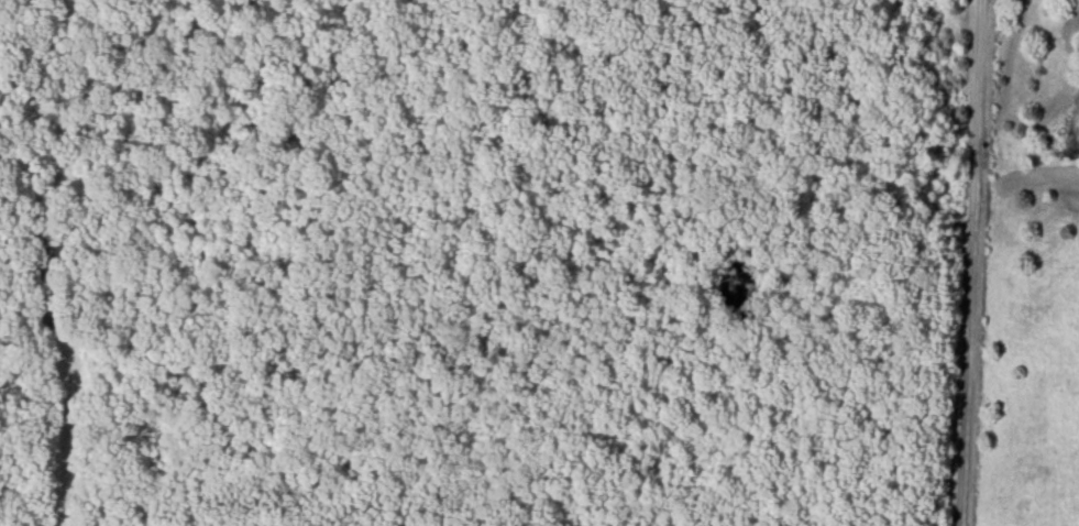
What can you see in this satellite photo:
road: (958, 263)

